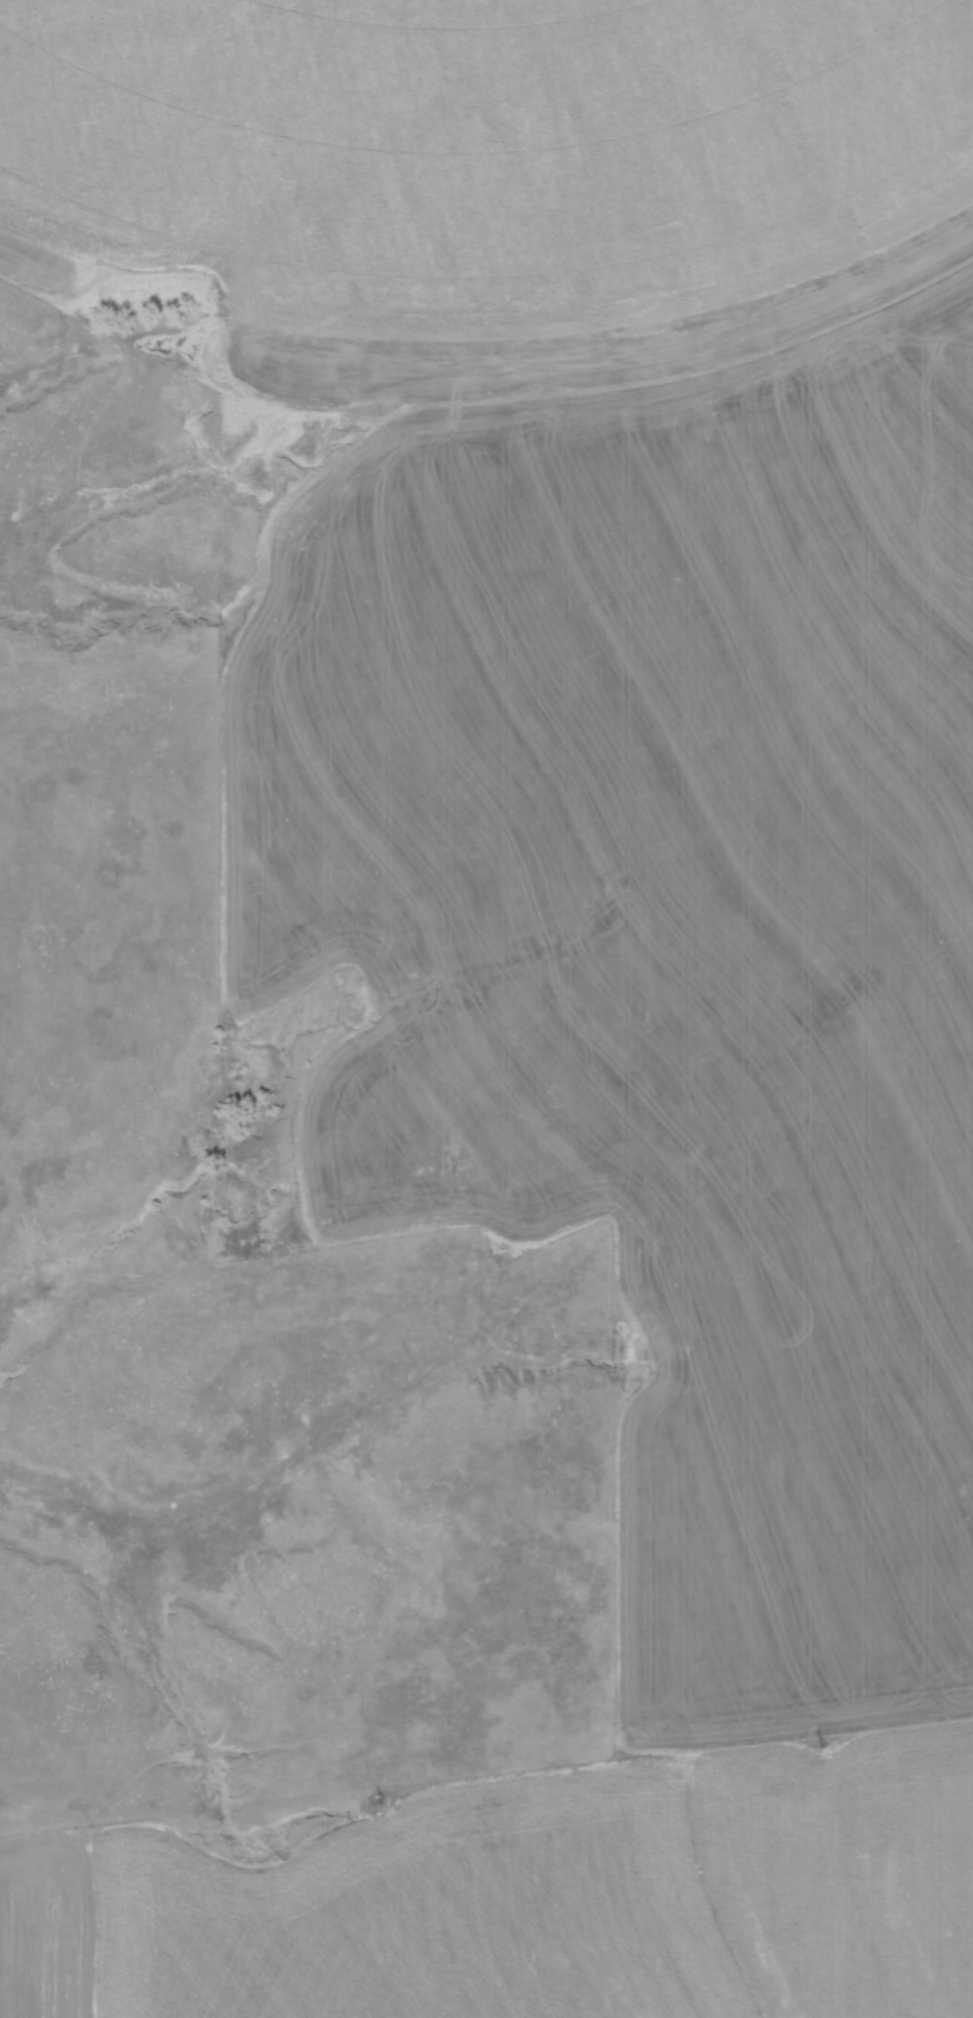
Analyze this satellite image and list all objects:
power tower: (826, 1751)
power tower: (387, 1807)

